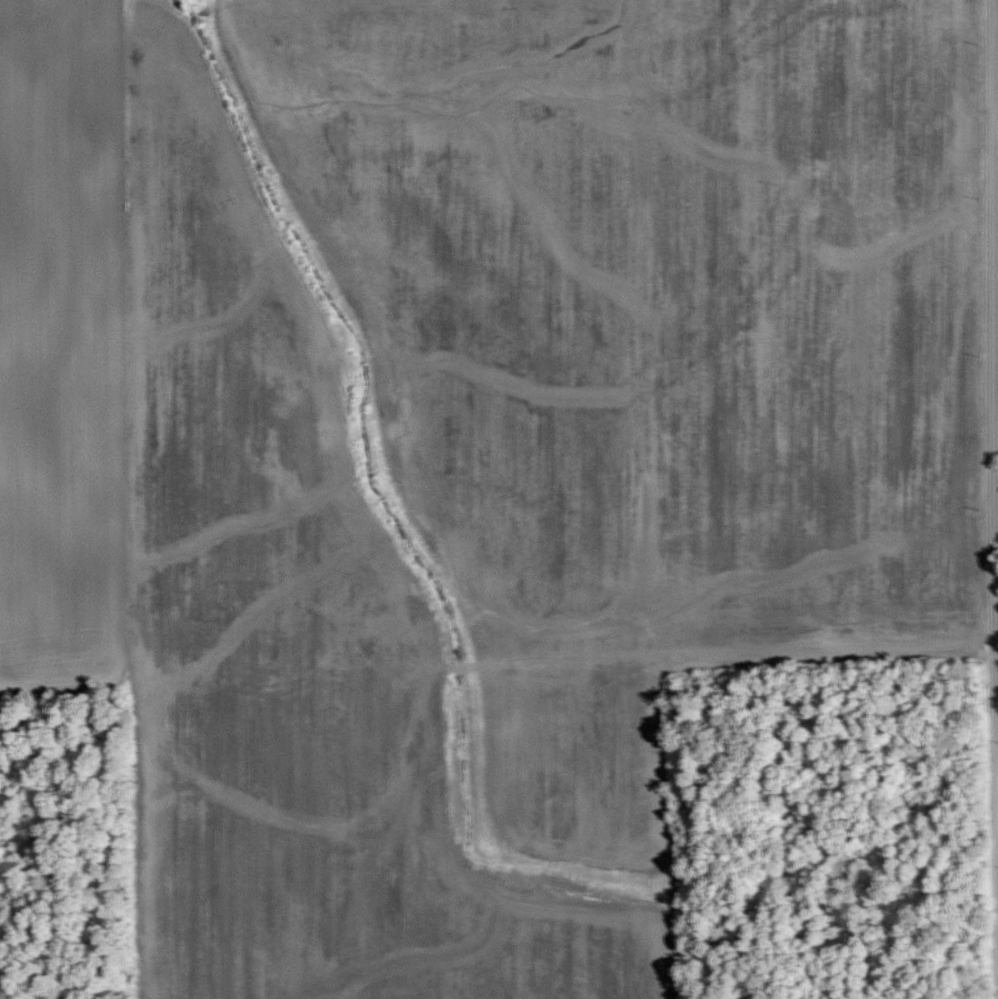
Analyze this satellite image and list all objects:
road: (997, 8)

